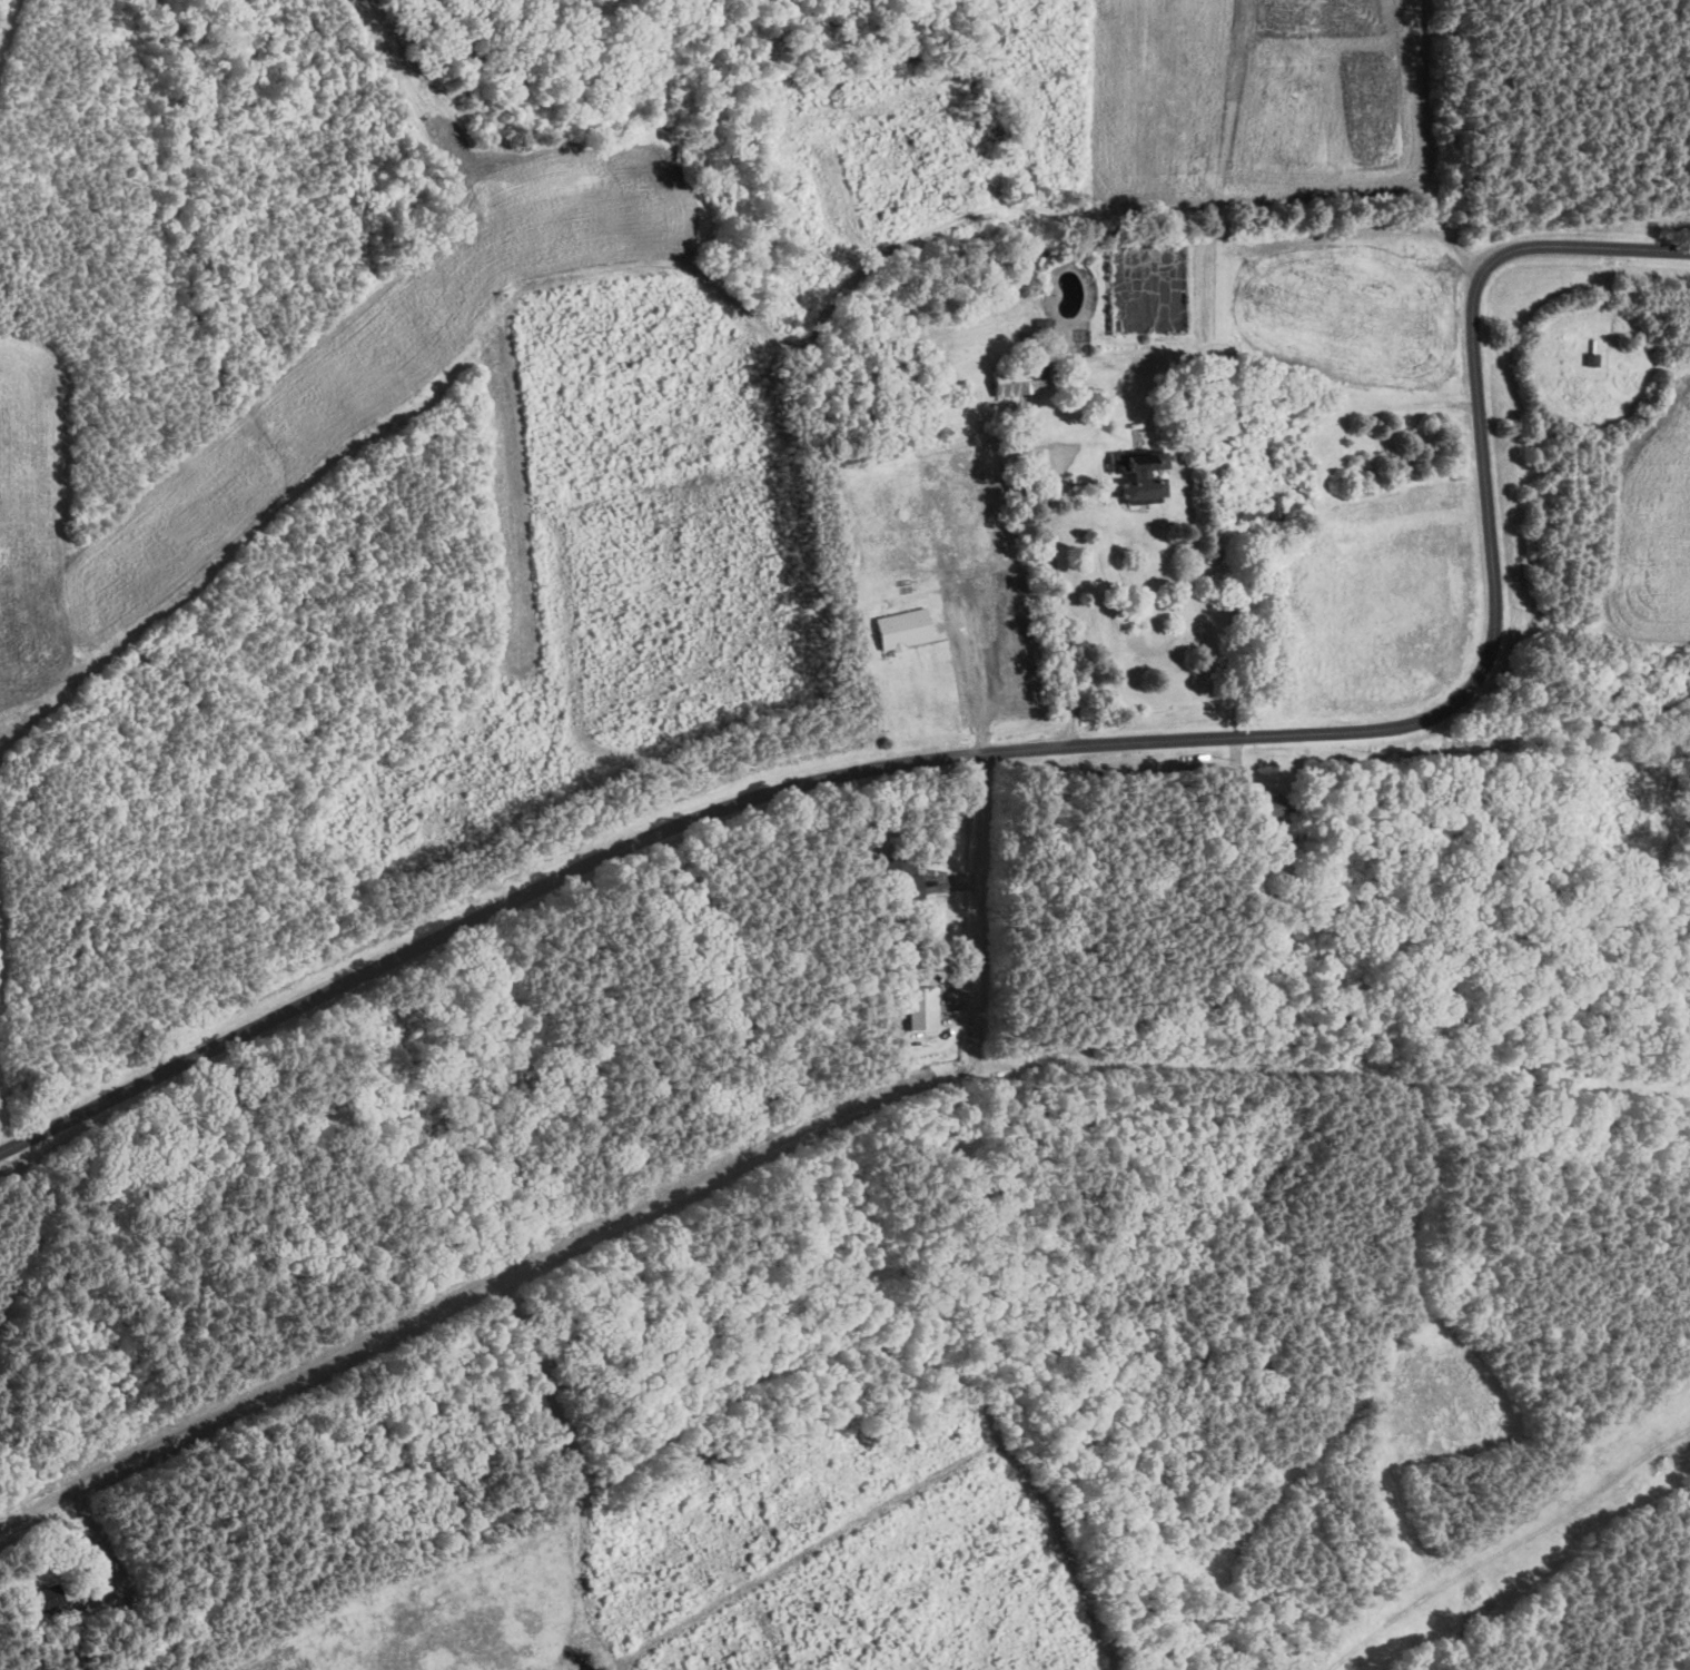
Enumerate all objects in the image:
building: (1044, 332)
building: (1592, 360)
building: (1024, 381)
building: (1142, 475)
building: (1258, 514)
road: (1059, 623)
building: (905, 631)
road: (1019, 749)
building: (1268, 807)
building: (909, 878)
building: (922, 1009)
road: (655, 1207)
road: (31, 1506)
building: (47, 1600)
building: (82, 1604)

